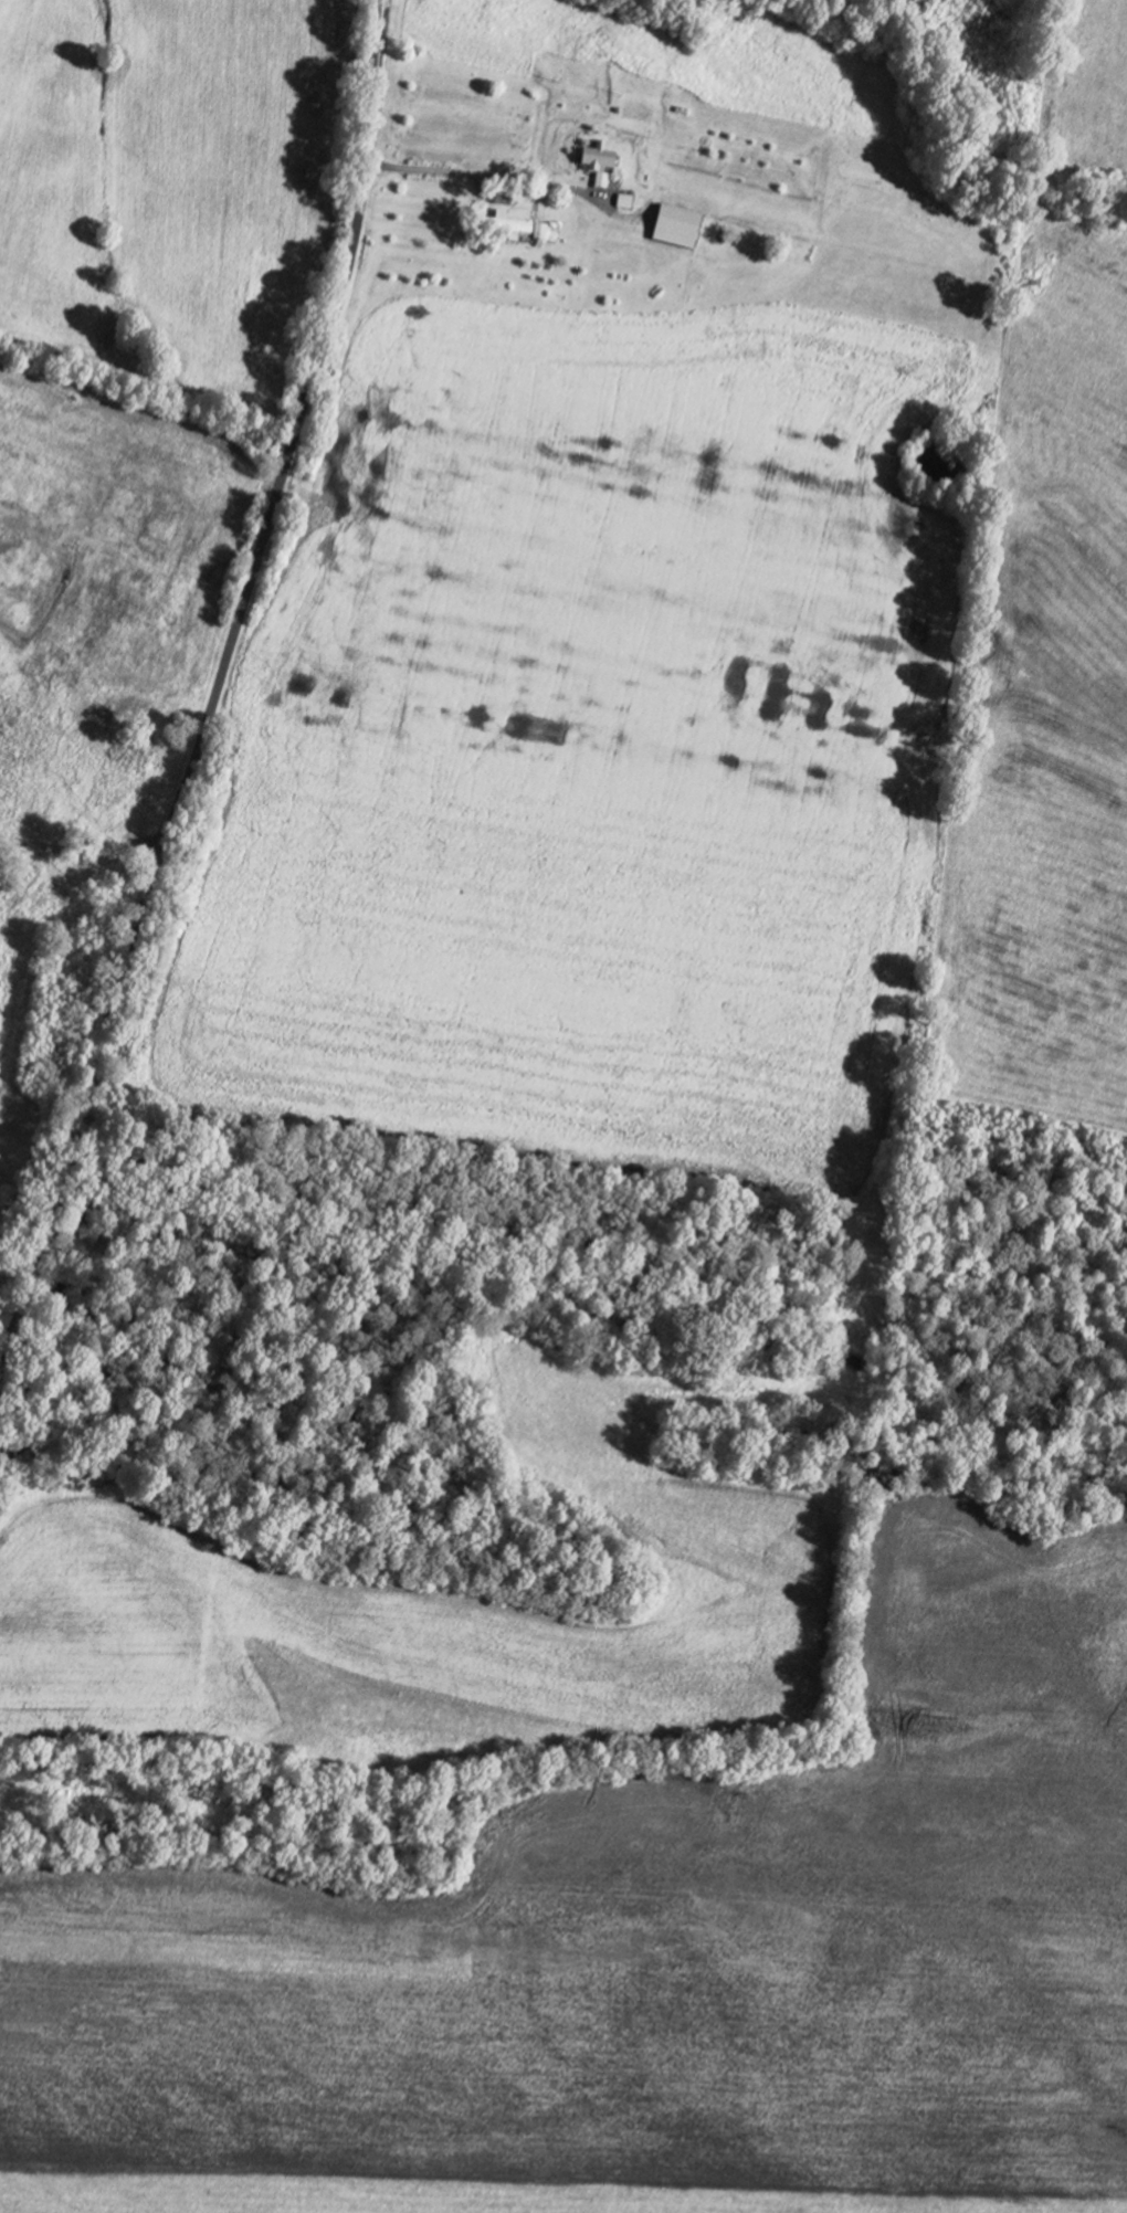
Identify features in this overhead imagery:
building: (597, 161)
building: (622, 204)
building: (506, 228)
building: (675, 230)
road: (212, 696)

